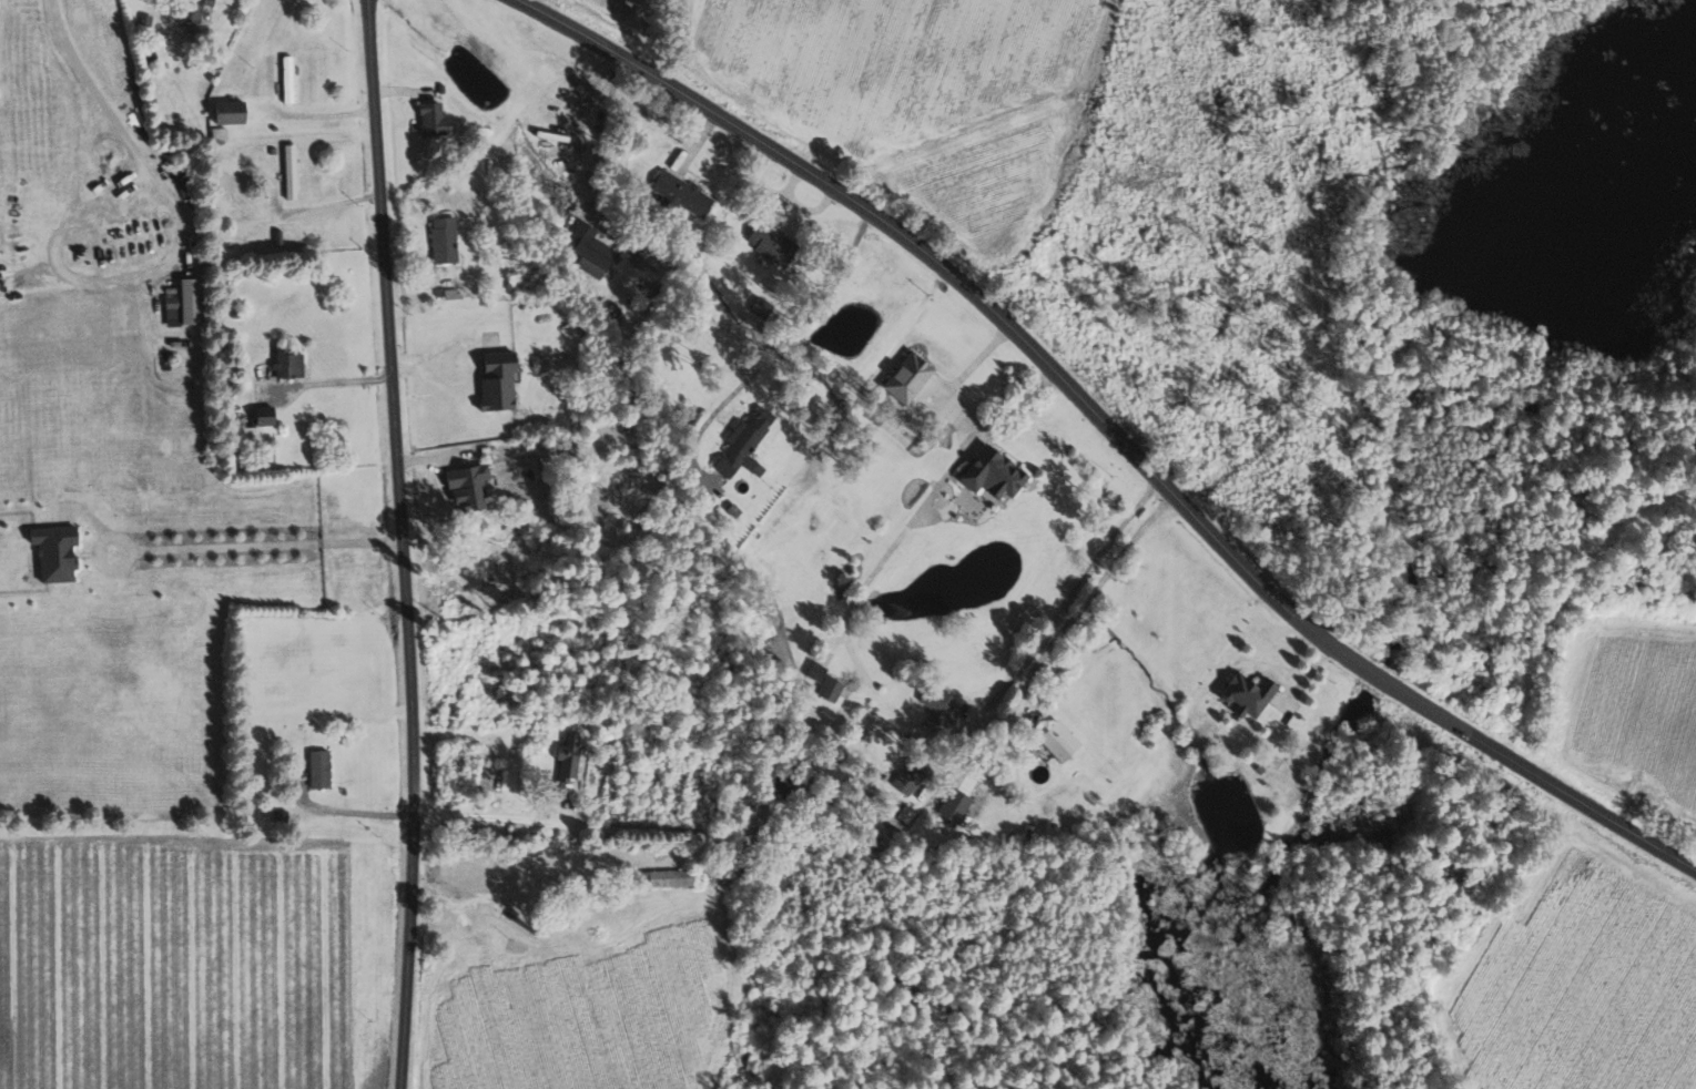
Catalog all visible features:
building: (193, 9)
road: (192, 33)
road: (101, 99)
road: (319, 113)
building: (228, 114)
building: (428, 116)
road: (590, 118)
road: (81, 160)
building: (290, 171)
building: (679, 194)
road: (321, 205)
building: (441, 238)
building: (768, 244)
building: (588, 248)
road: (74, 276)
road: (964, 292)
building: (186, 301)
road: (800, 325)
road: (438, 353)
building: (285, 362)
building: (905, 377)
building: (494, 379)
road: (328, 383)
building: (260, 419)
building: (742, 444)
building: (989, 472)
building: (466, 487)
road: (930, 498)
road: (400, 543)
road: (257, 547)
building: (51, 552)
road: (1561, 594)
road: (1062, 633)
road: (1030, 658)
building: (814, 671)
road: (1374, 678)
building: (829, 689)
building: (1246, 693)
building: (938, 704)
building: (1056, 740)
building: (567, 757)
building: (317, 769)
building: (908, 776)
road: (1544, 782)
building: (954, 805)
road: (352, 812)
road: (480, 816)
building: (669, 878)

